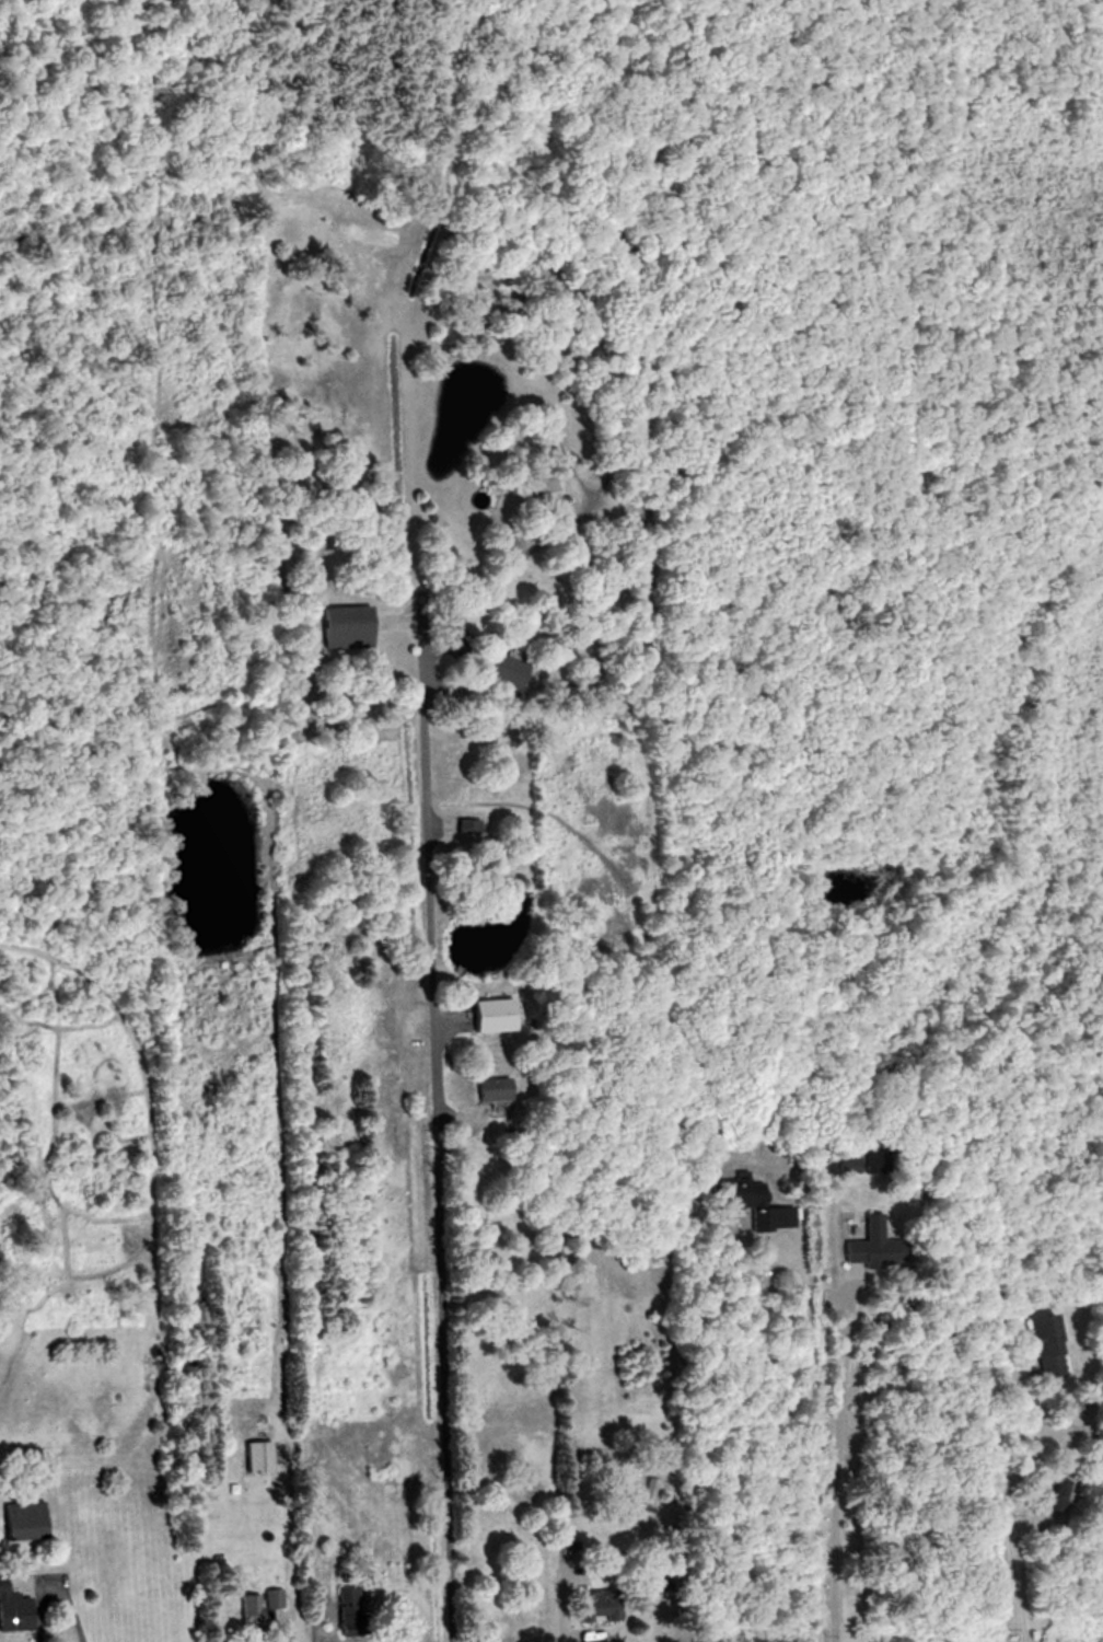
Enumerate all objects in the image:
building: (344, 627)
building: (503, 672)
road: (432, 869)
building: (490, 1022)
building: (497, 1088)
building: (746, 1202)
building: (870, 1241)
building: (1041, 1345)
road: (450, 1363)
road: (814, 1443)
building: (256, 1456)
road: (838, 1461)
building: (659, 1494)
building: (1058, 1494)
road: (1005, 1510)
building: (23, 1522)
road: (55, 1593)
building: (272, 1598)
building: (249, 1607)
building: (596, 1608)
building: (13, 1609)
road: (593, 1635)

